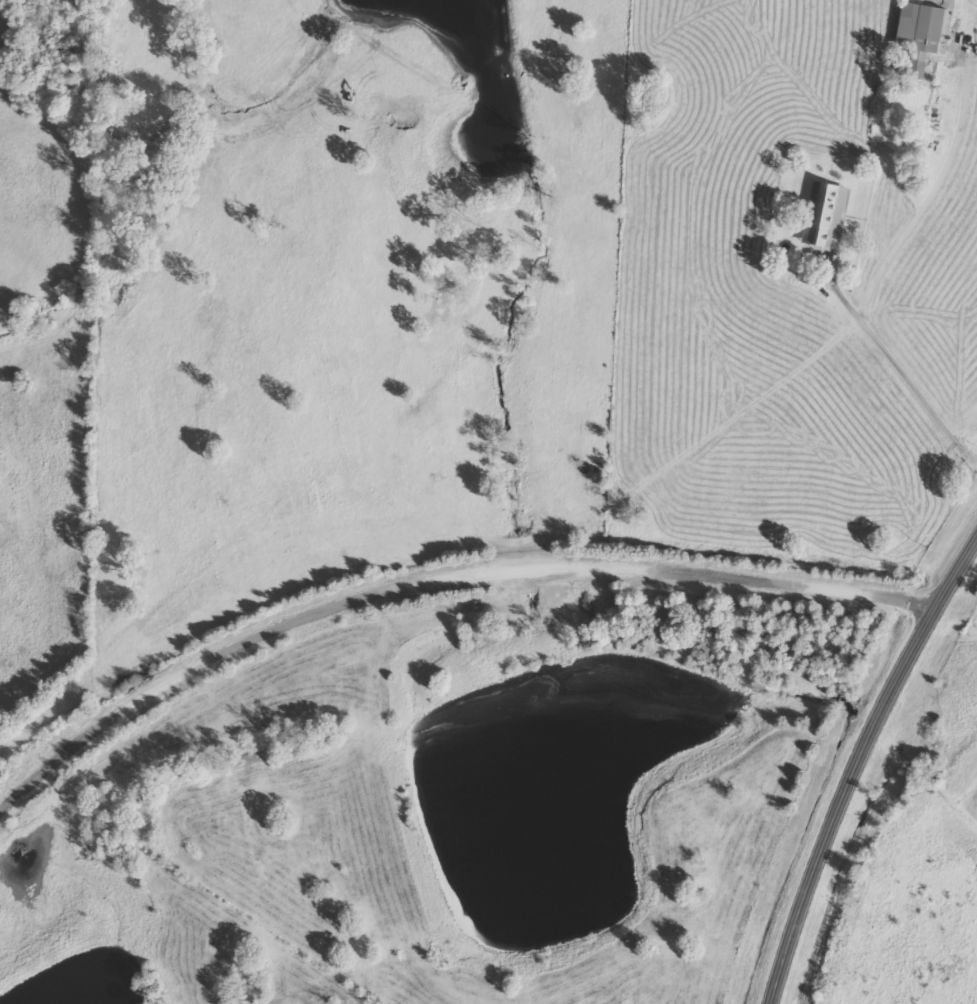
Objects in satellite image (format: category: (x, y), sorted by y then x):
building: (924, 36)
building: (827, 214)
road: (437, 564)
road: (855, 766)

